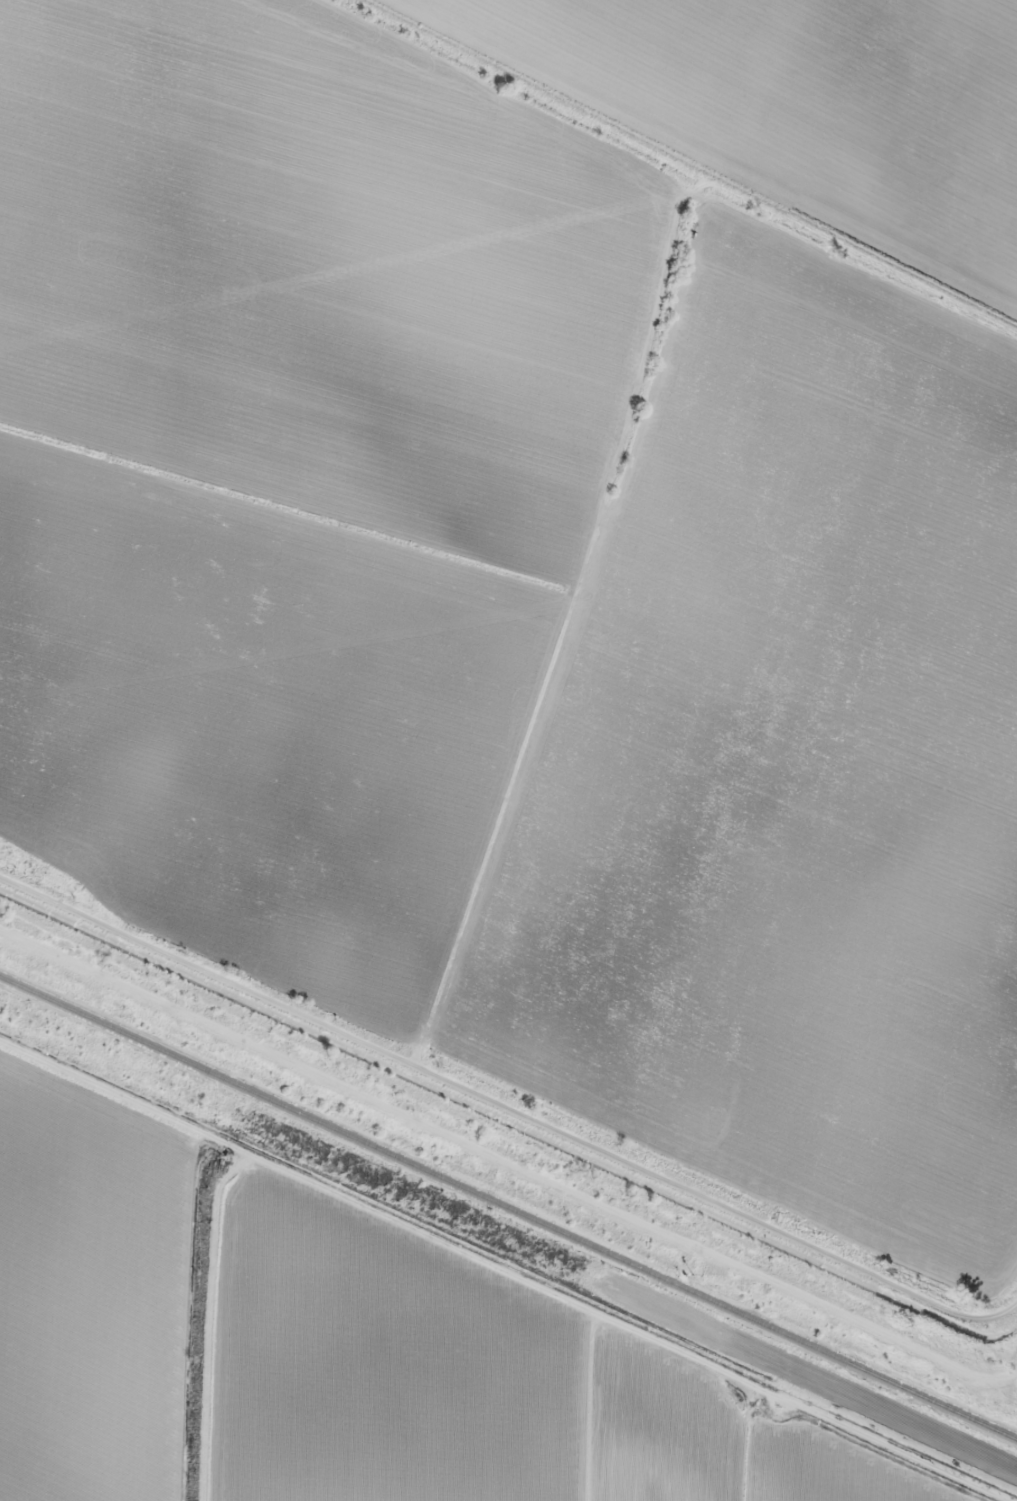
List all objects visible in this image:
railway: (508, 1208)

